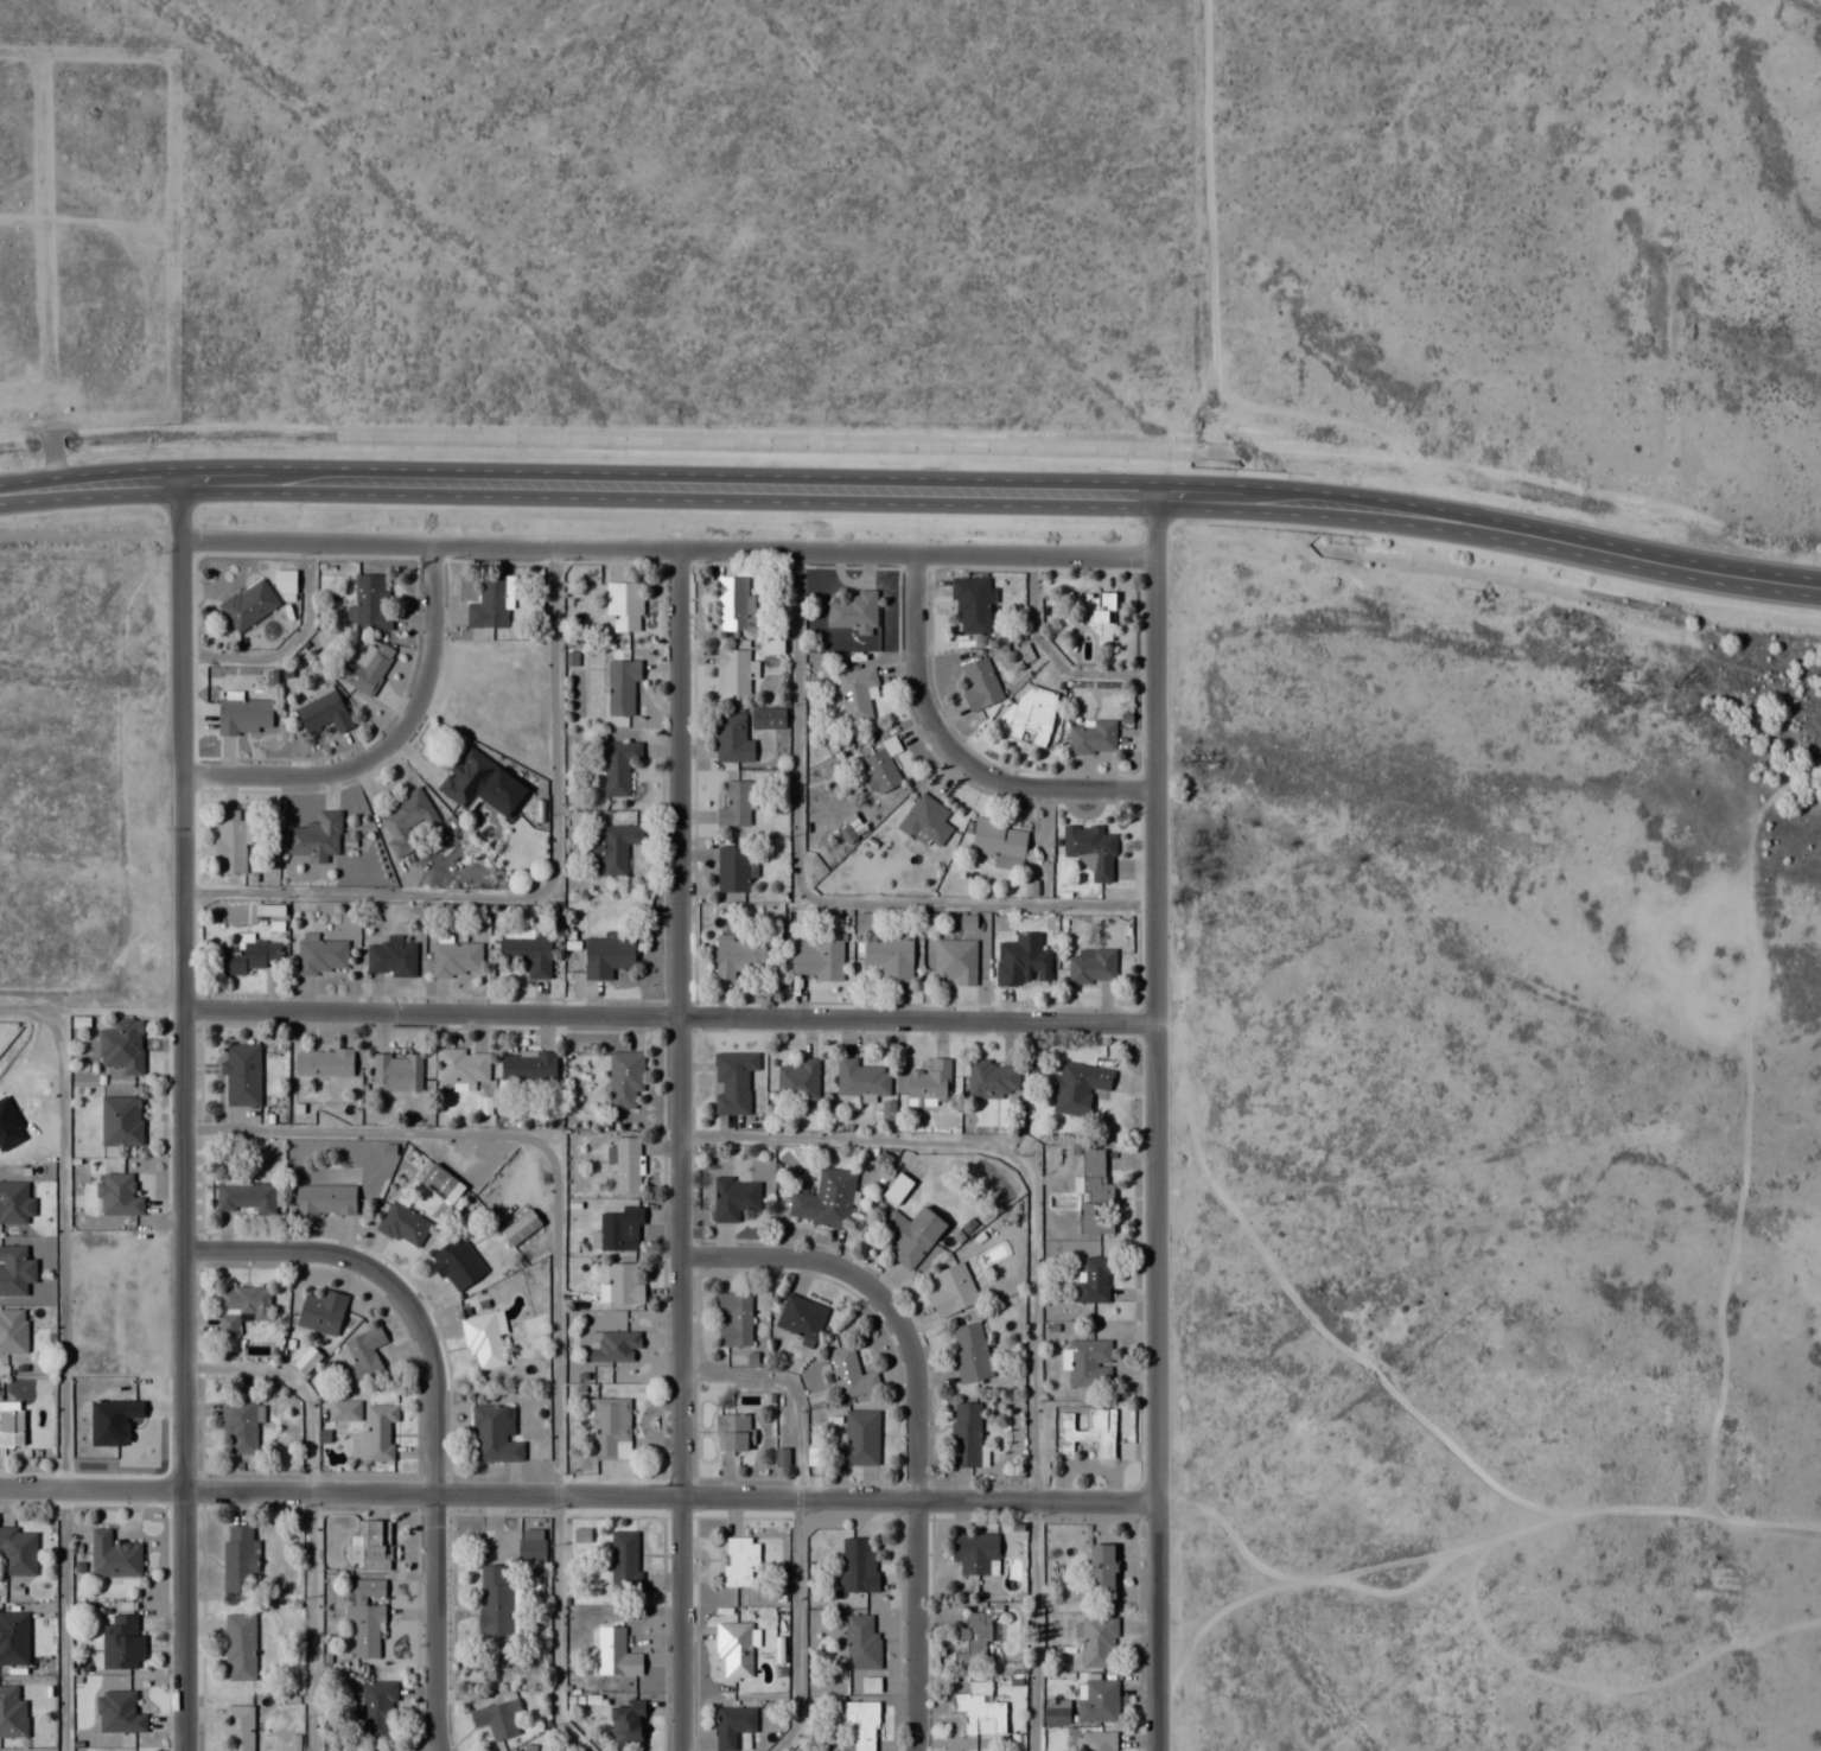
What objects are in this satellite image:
road: (1205, 180)
road: (40, 448)
road: (43, 476)
road: (578, 480)
road: (1491, 520)
road: (669, 548)
building: (285, 584)
building: (491, 603)
building: (248, 604)
building: (370, 604)
building: (733, 604)
building: (970, 605)
building: (623, 606)
building: (852, 611)
building: (1093, 615)
road: (286, 645)
road: (1055, 656)
building: (816, 663)
building: (363, 664)
building: (732, 671)
building: (980, 685)
building: (622, 686)
building: (854, 693)
building: (323, 712)
building: (1030, 714)
building: (243, 715)
building: (766, 718)
building: (1093, 737)
building: (732, 738)
road: (387, 745)
road: (954, 752)
building: (617, 765)
building: (880, 768)
building: (479, 783)
building: (736, 804)
building: (406, 821)
building: (924, 821)
building: (316, 838)
building: (231, 841)
building: (998, 842)
building: (612, 847)
building: (1090, 849)
building: (733, 868)
road: (536, 892)
road: (808, 896)
building: (527, 953)
building: (249, 955)
building: (607, 955)
building: (890, 955)
building: (321, 956)
building: (739, 957)
building: (390, 959)
building: (456, 959)
building: (816, 959)
building: (1091, 964)
building: (950, 967)
road: (669, 1015)
building: (121, 1048)
building: (323, 1062)
building: (464, 1065)
building: (528, 1065)
building: (396, 1071)
building: (242, 1075)
building: (624, 1077)
building: (860, 1078)
building: (993, 1078)
building: (797, 1080)
building: (732, 1081)
building: (930, 1081)
building: (1078, 1087)
road: (182, 1114)
road: (1158, 1120)
building: (120, 1121)
road: (548, 1135)
road: (681, 1150)
road: (1017, 1163)
building: (625, 1164)
building: (441, 1184)
building: (897, 1188)
building: (1093, 1192)
building: (117, 1196)
building: (246, 1197)
building: (733, 1198)
building: (323, 1199)
building: (824, 1199)
building: (14, 1203)
building: (403, 1224)
building: (521, 1227)
building: (620, 1230)
building: (910, 1235)
road: (62, 1248)
building: (457, 1263)
quarry: (1804, 1263)
building: (15, 1271)
building: (1095, 1280)
building: (619, 1286)
building: (951, 1291)
building: (241, 1307)
building: (321, 1312)
building: (800, 1318)
building: (733, 1319)
building: (12, 1331)
building: (483, 1341)
building: (615, 1346)
building: (969, 1351)
building: (363, 1357)
building: (1089, 1364)
building: (851, 1374)
road: (785, 1390)
road: (432, 1402)
building: (344, 1411)
road: (916, 1416)
building: (11, 1424)
building: (238, 1427)
building: (610, 1428)
building: (378, 1431)
building: (732, 1432)
building: (1088, 1433)
building: (966, 1434)
building: (494, 1435)
building: (860, 1439)
road: (578, 1495)
road: (311, 1505)
building: (374, 1543)
building: (531, 1543)
building: (17, 1551)
building: (975, 1551)
building: (113, 1554)
building: (238, 1559)
building: (624, 1560)
building: (740, 1561)
building: (857, 1564)
building: (1101, 1565)
building: (495, 1598)
building: (365, 1615)
road: (64, 1619)
road: (1032, 1625)
road: (795, 1628)
road: (555, 1629)
building: (975, 1636)
building: (13, 1637)
building: (860, 1641)
building: (1097, 1641)
building: (122, 1642)
building: (240, 1645)
building: (733, 1648)
building: (615, 1651)
building: (1097, 1700)
building: (376, 1709)
building: (980, 1709)
building: (12, 1712)
building: (117, 1712)
building: (496, 1718)
building: (626, 1720)
building: (861, 1723)
building: (732, 1725)
building: (238, 1727)
building: (1097, 1740)
building: (514, 1750)
building: (823, 1750)

